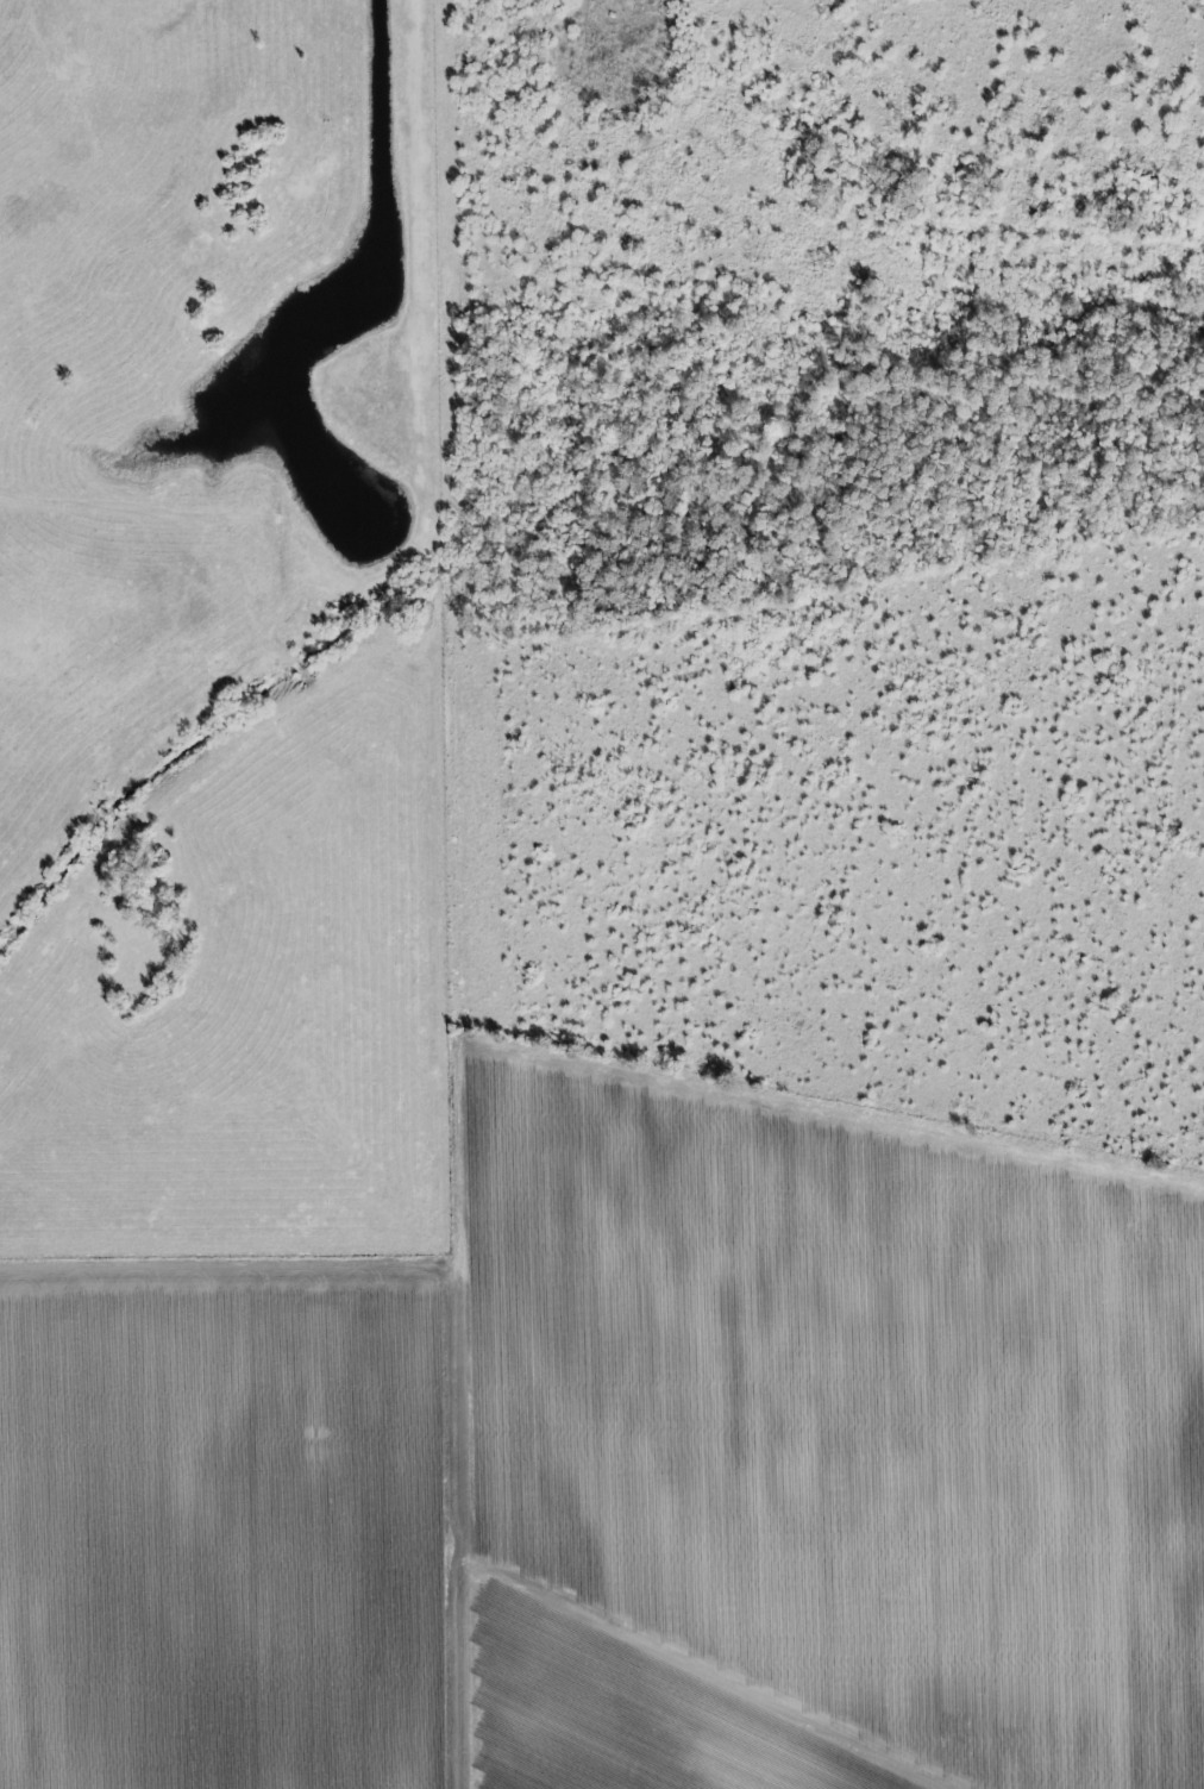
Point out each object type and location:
road: (1202, 8)
road: (464, 1177)

